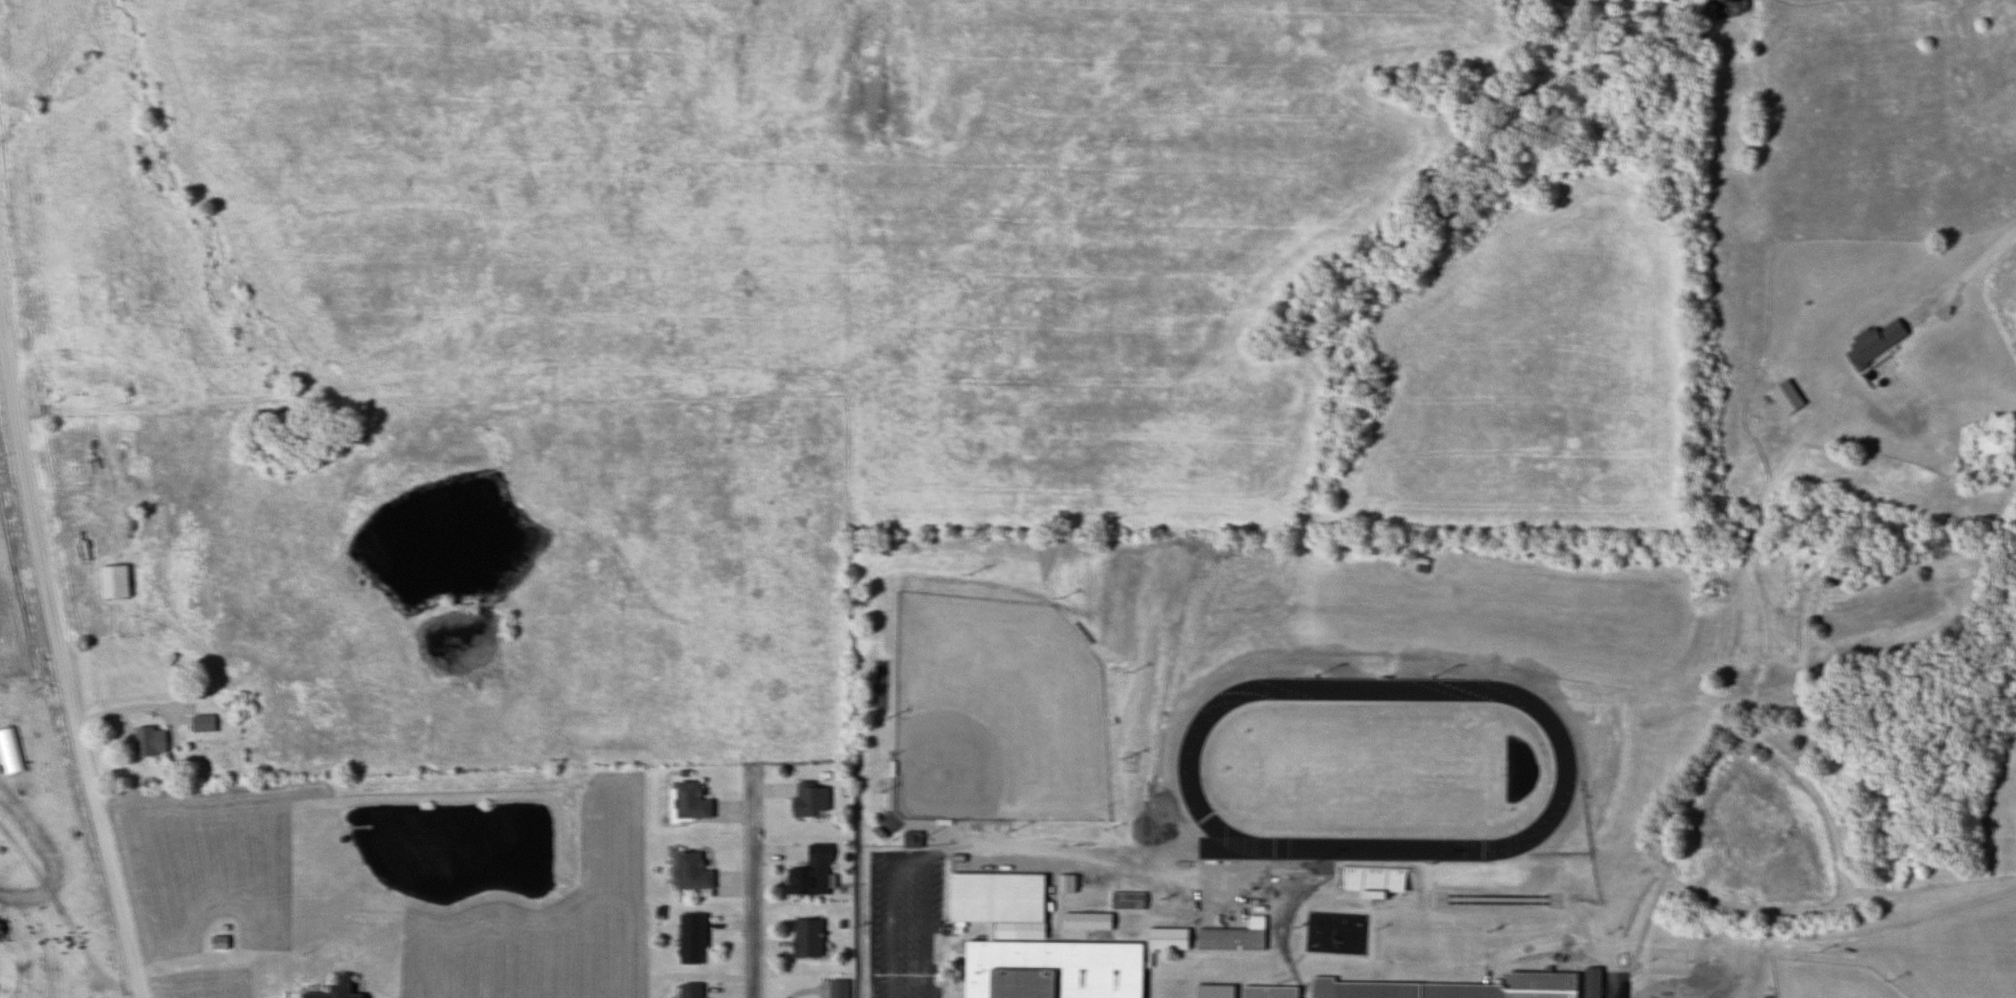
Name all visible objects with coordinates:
building: (1872, 342)
crop: (15, 579)
building: (113, 582)
road: (62, 650)
road: (136, 707)
park: (994, 713)
building: (201, 723)
park: (1843, 739)
building: (148, 741)
park: (1374, 763)
building: (808, 798)
building: (687, 800)
building: (818, 852)
road: (908, 859)
building: (689, 871)
building: (1371, 878)
building: (797, 880)
building: (1064, 883)
road: (754, 897)
building: (1085, 920)
building: (805, 937)
building: (689, 938)
building: (1166, 939)
building: (1228, 939)
building: (218, 942)
building: (1050, 969)
park: (1826, 981)
building: (1589, 982)
building: (1454, 989)
building: (333, 990)
building: (687, 990)
building: (1269, 993)

